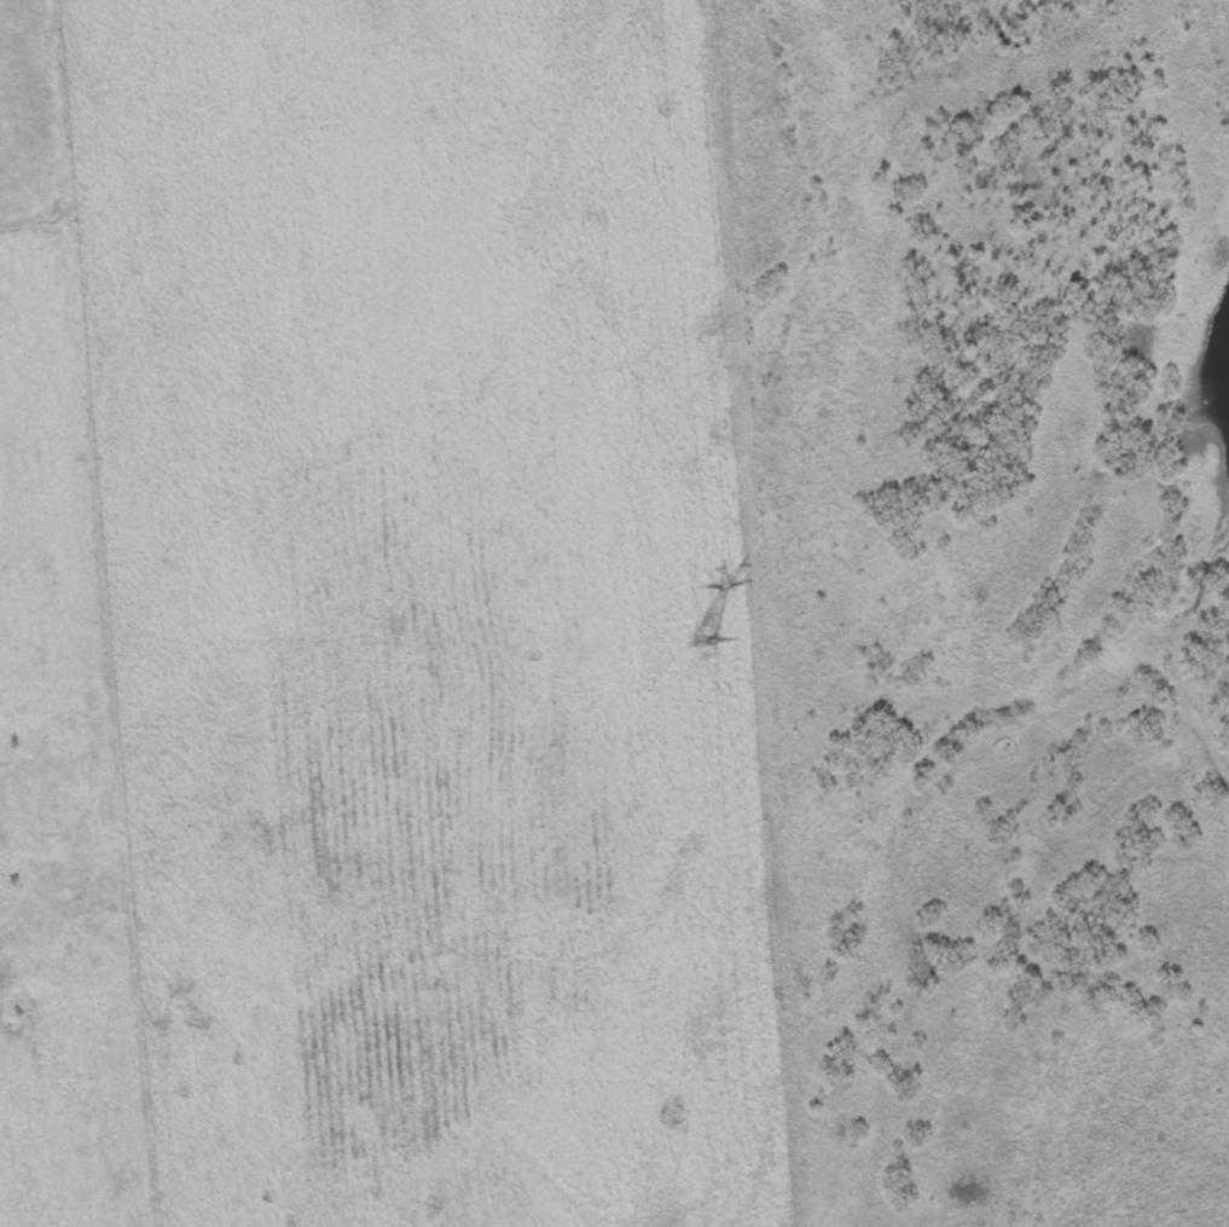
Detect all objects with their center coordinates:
power tower: (702, 637)

